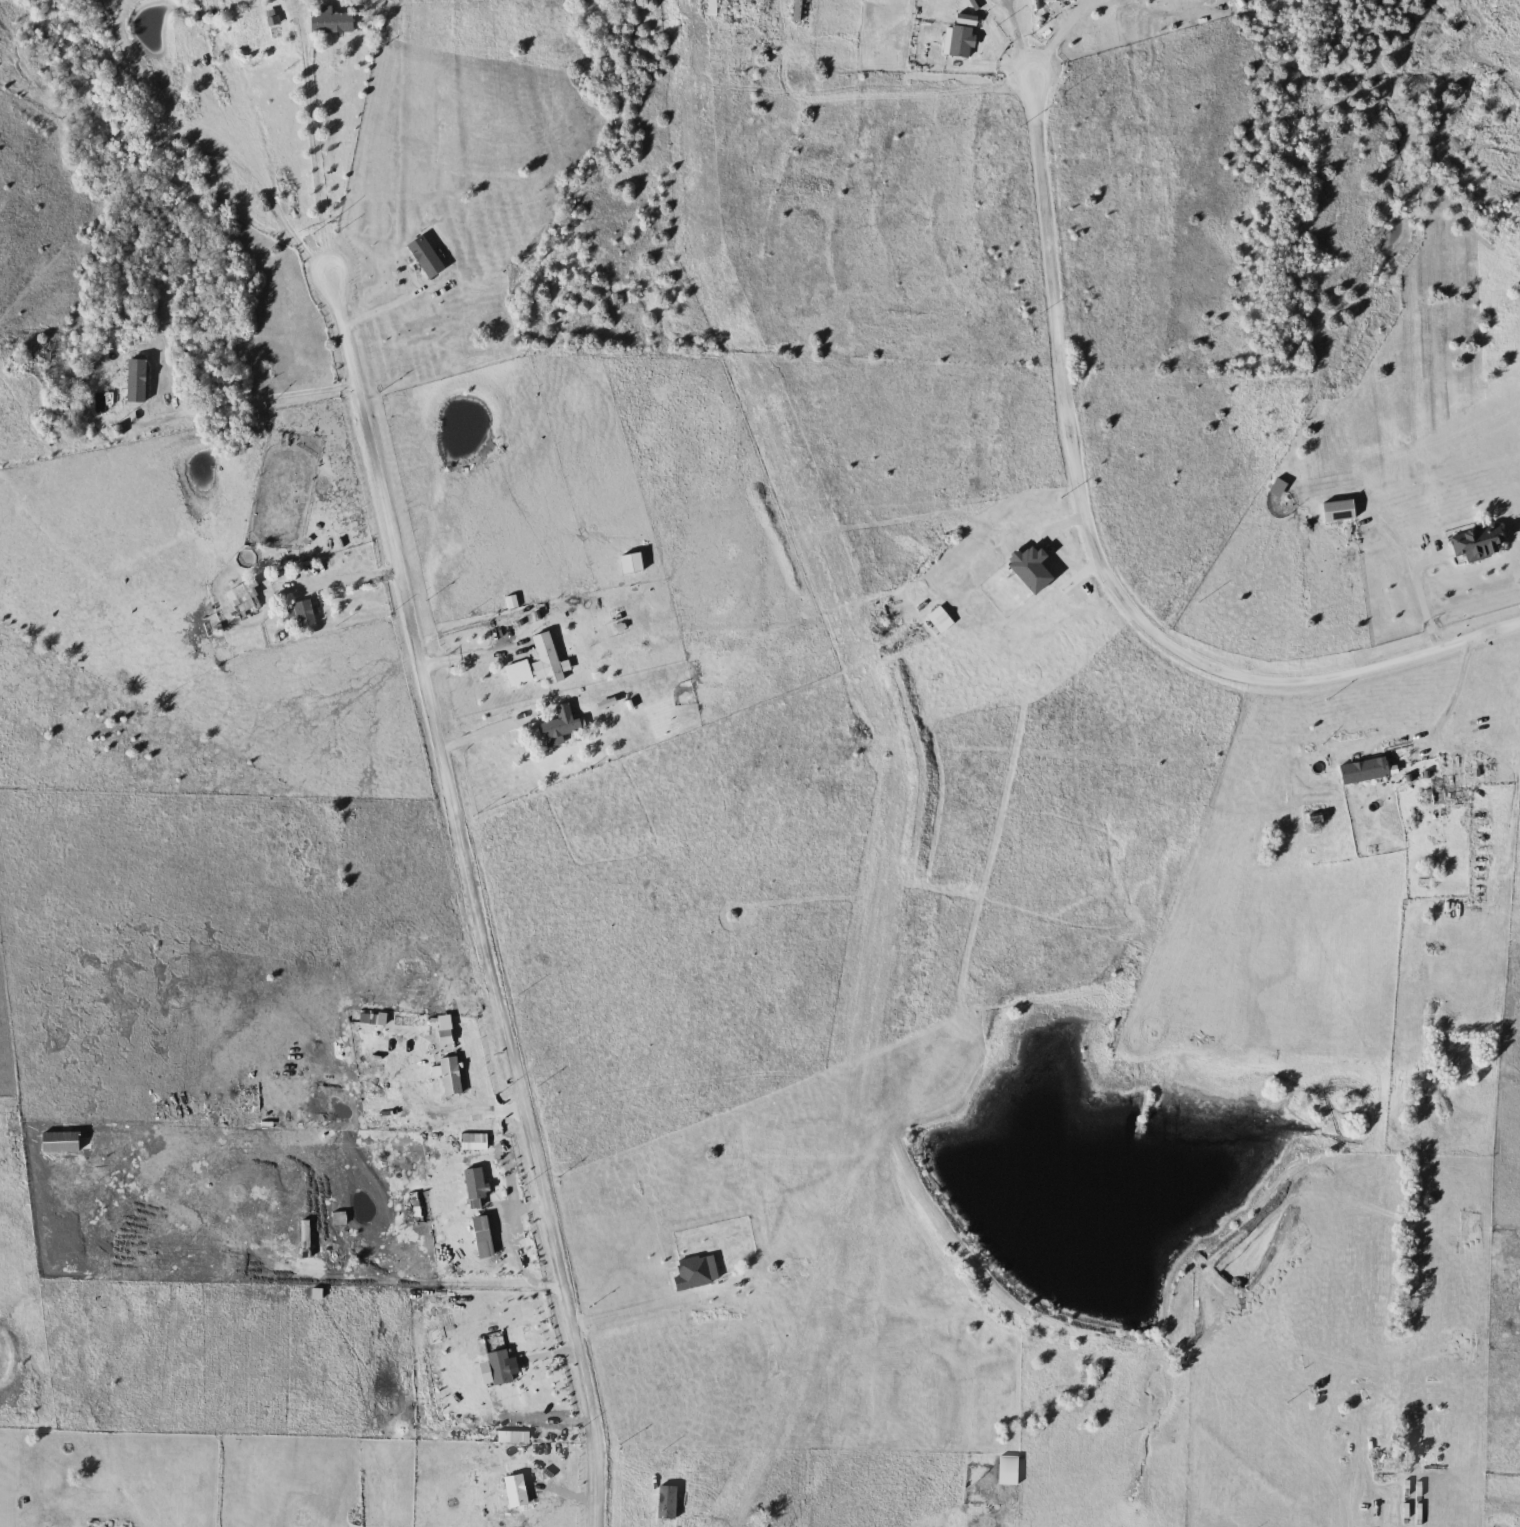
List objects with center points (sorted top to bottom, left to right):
building: (1050, 1)
building: (335, 22)
road: (1058, 37)
road: (1021, 39)
road: (915, 89)
road: (313, 140)
building: (421, 256)
building: (132, 381)
road: (243, 402)
building: (1333, 510)
road: (1095, 560)
building: (1026, 569)
road: (344, 579)
road: (1063, 593)
building: (239, 598)
road: (1422, 601)
building: (299, 614)
building: (937, 620)
road: (470, 657)
building: (541, 659)
road: (1456, 690)
building: (554, 727)
road: (489, 731)
building: (1361, 772)
road: (471, 897)
building: (446, 1075)
building: (691, 1272)
road: (625, 1311)

